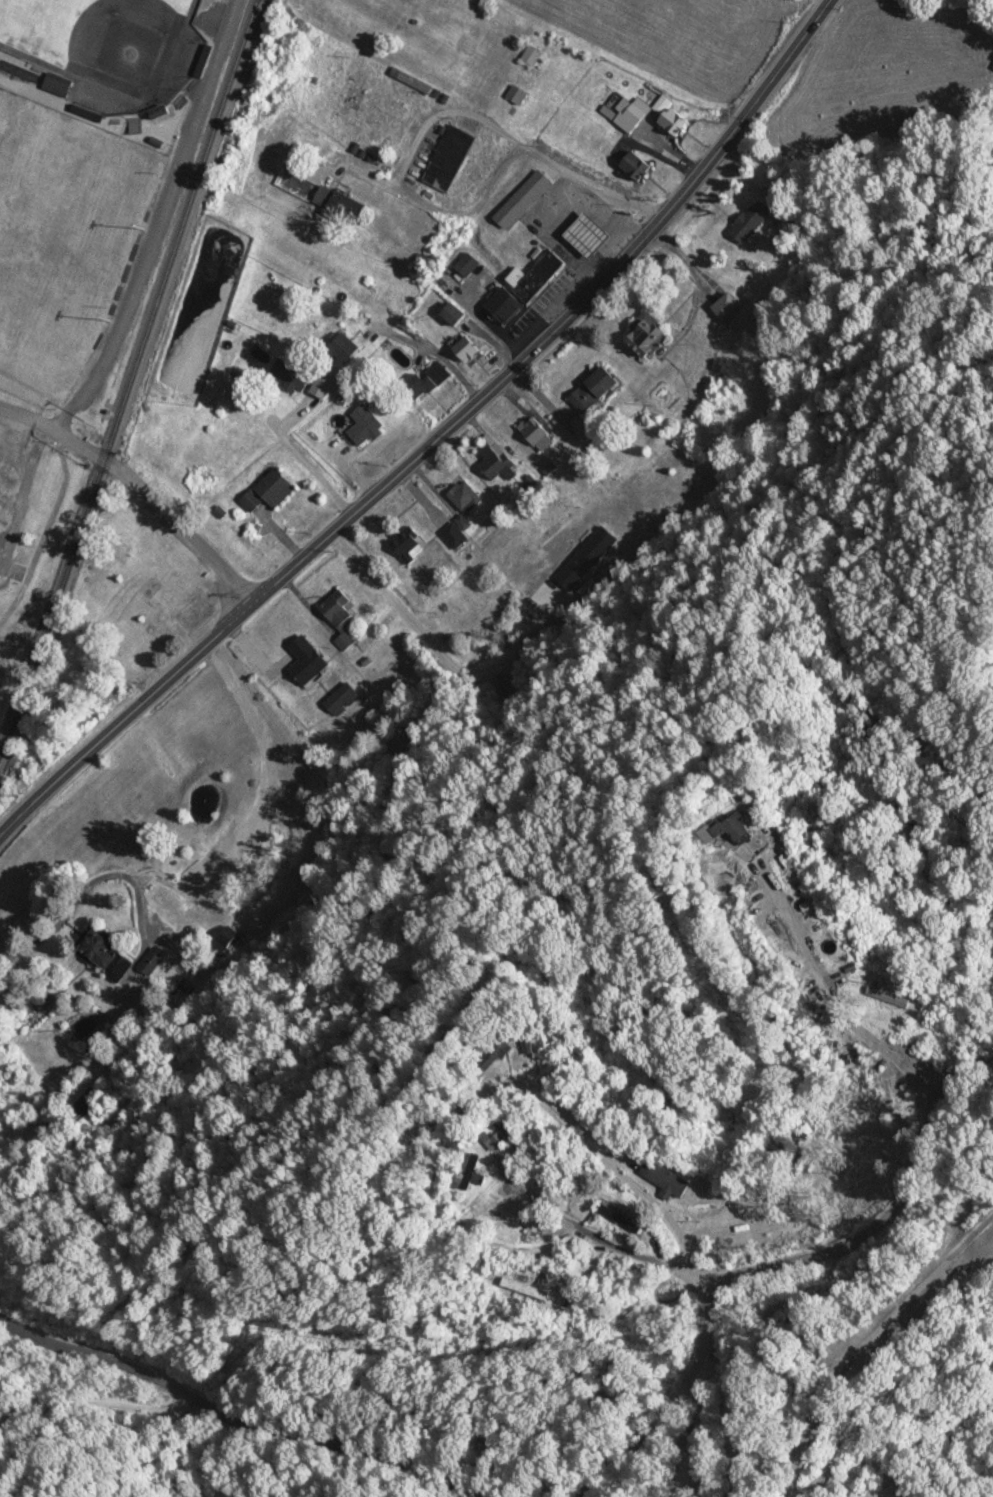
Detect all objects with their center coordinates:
park: (96, 32)
stadium: (103, 44)
park: (0, 115)
road: (402, 175)
road: (594, 185)
park: (64, 240)
railway: (128, 373)
road: (433, 431)
road: (133, 487)
road: (69, 866)
road: (835, 1004)
road: (441, 1134)
road: (981, 1213)
road: (776, 1260)
road: (701, 1276)
road: (883, 1336)
road: (99, 1404)
road: (242, 1408)
road: (737, 1419)
road: (947, 1444)

